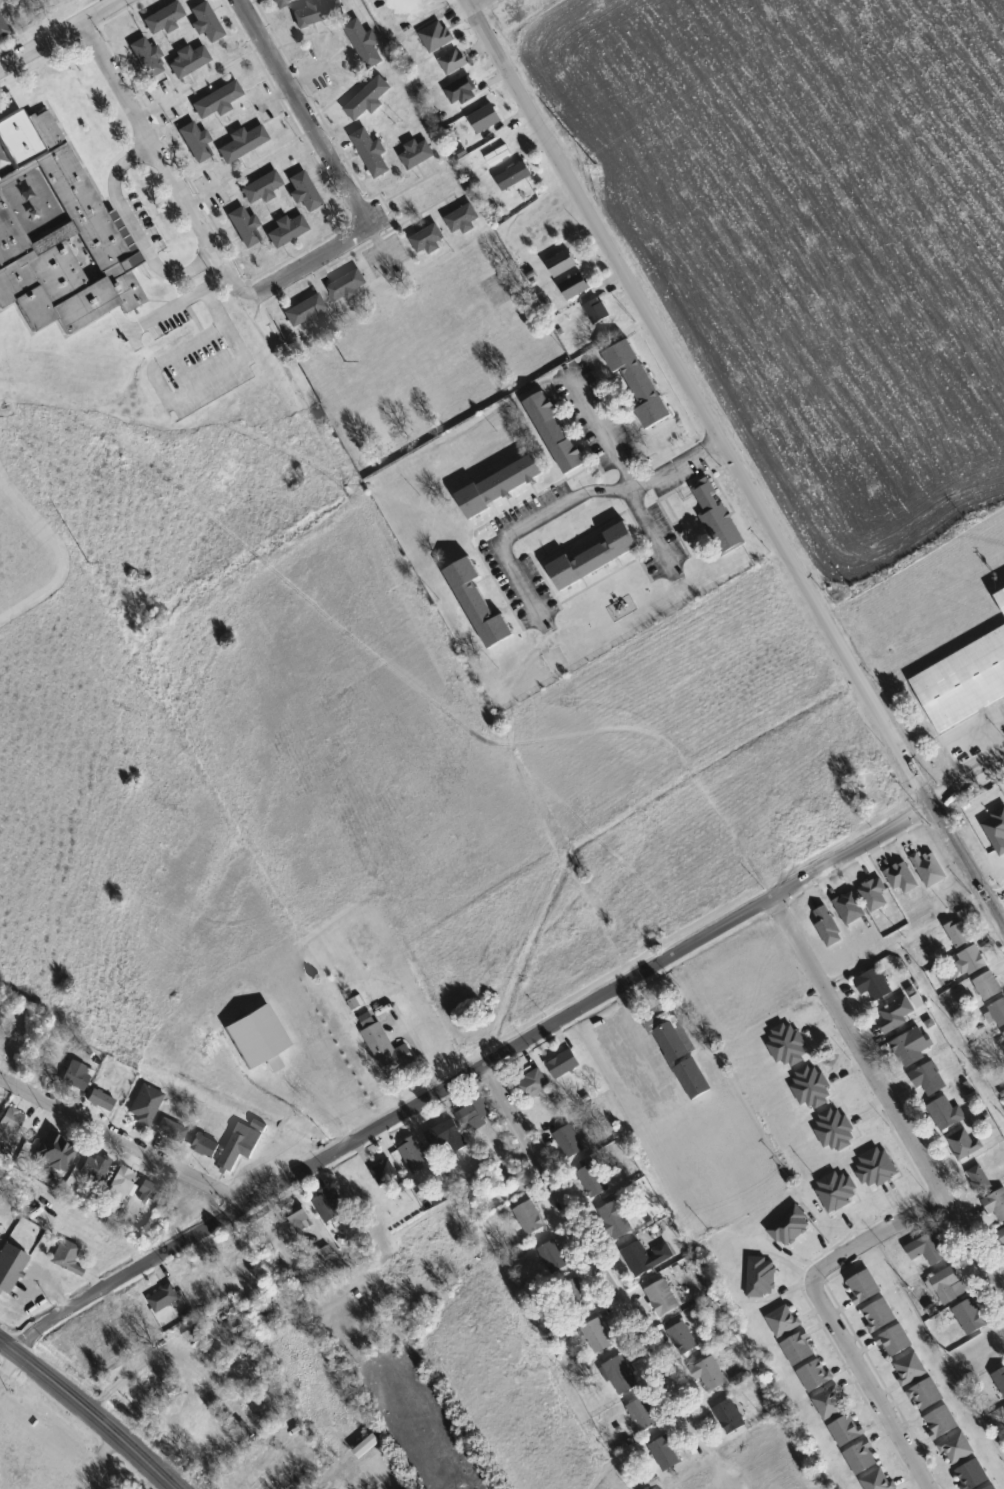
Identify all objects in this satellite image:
building: (73, 0)
building: (281, 3)
building: (319, 12)
building: (163, 19)
building: (206, 22)
building: (3, 29)
road: (58, 33)
building: (438, 37)
building: (365, 43)
building: (147, 59)
road: (36, 60)
building: (188, 61)
building: (455, 64)
building: (461, 90)
building: (368, 99)
building: (216, 101)
building: (487, 120)
building: (196, 142)
building: (242, 143)
building: (372, 153)
building: (417, 154)
power tower: (596, 166)
building: (515, 177)
building: (261, 188)
building: (304, 192)
road: (115, 196)
building: (464, 219)
building: (244, 227)
building: (287, 230)
building: (59, 232)
building: (429, 240)
building: (563, 264)
road: (183, 269)
road: (283, 279)
building: (348, 286)
building: (576, 287)
road: (179, 300)
building: (598, 311)
building: (305, 312)
parking lot: (163, 316)
power tower: (344, 363)
parking lot: (198, 367)
building: (639, 383)
road: (186, 389)
building: (556, 434)
road: (604, 434)
road: (734, 465)
building: (502, 486)
road: (644, 487)
building: (718, 518)
road: (522, 527)
park: (26, 542)
road: (58, 551)
building: (596, 557)
power tower: (85, 559)
building: (1001, 598)
building: (479, 606)
building: (963, 682)
road: (966, 780)
building: (930, 869)
building: (901, 878)
road: (996, 899)
building: (850, 909)
building: (828, 926)
building: (959, 933)
building: (971, 961)
building: (874, 984)
building: (988, 987)
building: (998, 1012)
building: (897, 1015)
building: (257, 1037)
building: (8, 1045)
building: (789, 1045)
building: (386, 1047)
building: (912, 1047)
road: (858, 1048)
building: (680, 1056)
building: (564, 1065)
road: (467, 1073)
building: (76, 1076)
building: (929, 1079)
building: (533, 1084)
building: (812, 1087)
building: (101, 1101)
road: (637, 1101)
building: (145, 1105)
building: (946, 1114)
building: (475, 1115)
building: (10, 1125)
building: (171, 1130)
building: (835, 1130)
building: (446, 1136)
road: (123, 1141)
building: (569, 1141)
building: (963, 1144)
building: (205, 1146)
building: (241, 1146)
building: (413, 1154)
building: (93, 1168)
building: (877, 1168)
building: (385, 1172)
building: (979, 1179)
building: (595, 1180)
building: (121, 1182)
building: (146, 1189)
building: (837, 1191)
building: (329, 1205)
building: (997, 1206)
building: (530, 1218)
building: (301, 1220)
building: (617, 1220)
building: (790, 1227)
building: (1002, 1235)
road: (870, 1240)
road: (975, 1247)
road: (587, 1249)
building: (928, 1249)
building: (66, 1257)
building: (647, 1257)
building: (554, 1258)
building: (10, 1268)
building: (762, 1278)
building: (949, 1284)
building: (864, 1287)
building: (576, 1296)
building: (663, 1298)
building: (165, 1299)
building: (879, 1315)
building: (970, 1317)
building: (784, 1321)
building: (598, 1337)
building: (683, 1339)
building: (896, 1341)
building: (799, 1349)
road: (9, 1367)
building: (911, 1369)
building: (710, 1375)
building: (621, 1376)
building: (815, 1376)
building: (999, 1380)
building: (153, 1386)
road: (870, 1391)
building: (927, 1396)
building: (830, 1403)
road: (87, 1412)
building: (643, 1414)
building: (730, 1417)
building: (941, 1422)
building: (846, 1431)
building: (958, 1449)
building: (666, 1454)
building: (862, 1458)
building: (973, 1475)
building: (878, 1481)
building: (987, 1487)

